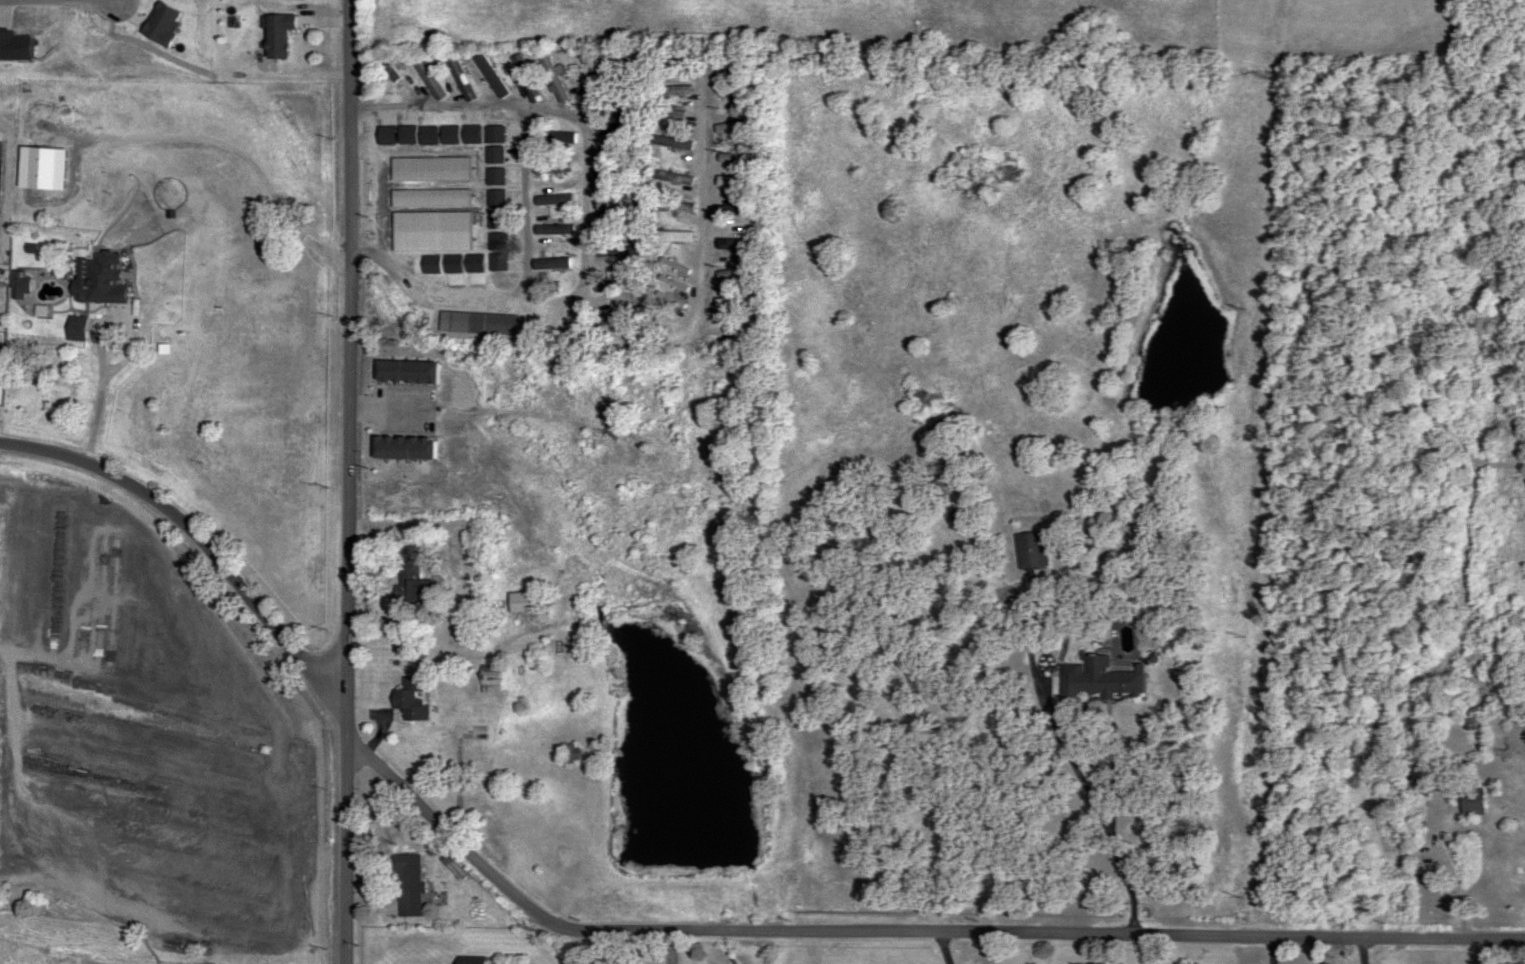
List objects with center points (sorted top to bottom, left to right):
building: (158, 23)
building: (275, 34)
building: (741, 91)
road: (568, 119)
building: (617, 120)
building: (730, 158)
building: (617, 166)
building: (550, 168)
building: (617, 197)
building: (671, 207)
building: (738, 210)
building: (553, 230)
building: (733, 243)
building: (617, 252)
building: (101, 279)
road: (426, 294)
building: (668, 301)
road: (701, 301)
building: (736, 304)
building: (616, 317)
building: (475, 324)
building: (48, 328)
road: (515, 336)
road: (515, 362)
road: (102, 395)
road: (1247, 479)
road: (350, 482)
building: (943, 486)
road: (196, 535)
building: (1028, 550)
building: (404, 561)
building: (520, 602)
road: (442, 656)
building: (1098, 681)
building: (409, 700)
building: (1470, 802)
road: (1101, 827)
building: (406, 884)
road: (903, 932)
road: (572, 948)
road: (802, 948)
road: (949, 948)
road: (1119, 950)
road: (1326, 952)
road: (1366, 952)

